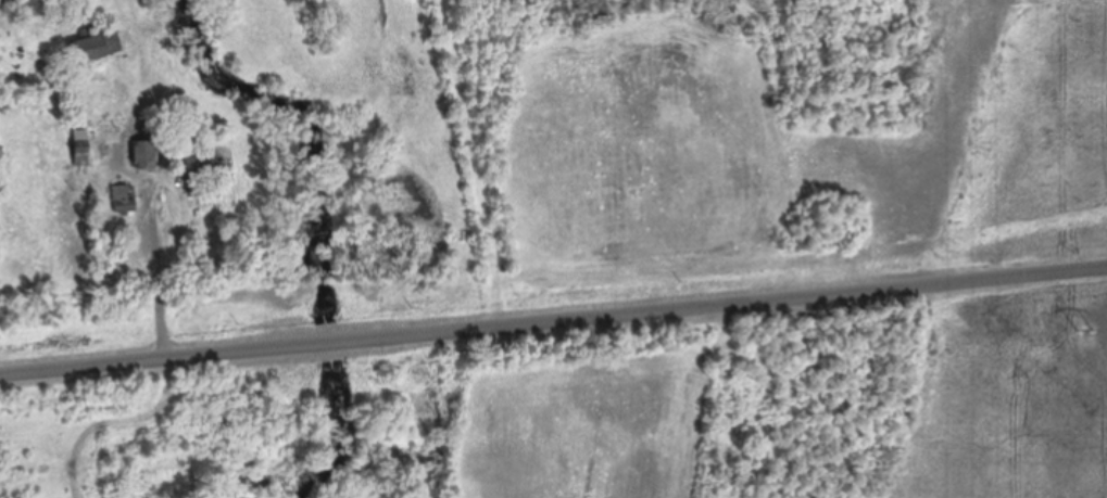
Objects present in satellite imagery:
building: (95, 47)
building: (79, 150)
building: (142, 155)
building: (201, 168)
building: (123, 200)
road: (553, 321)
power tower: (1091, 329)

